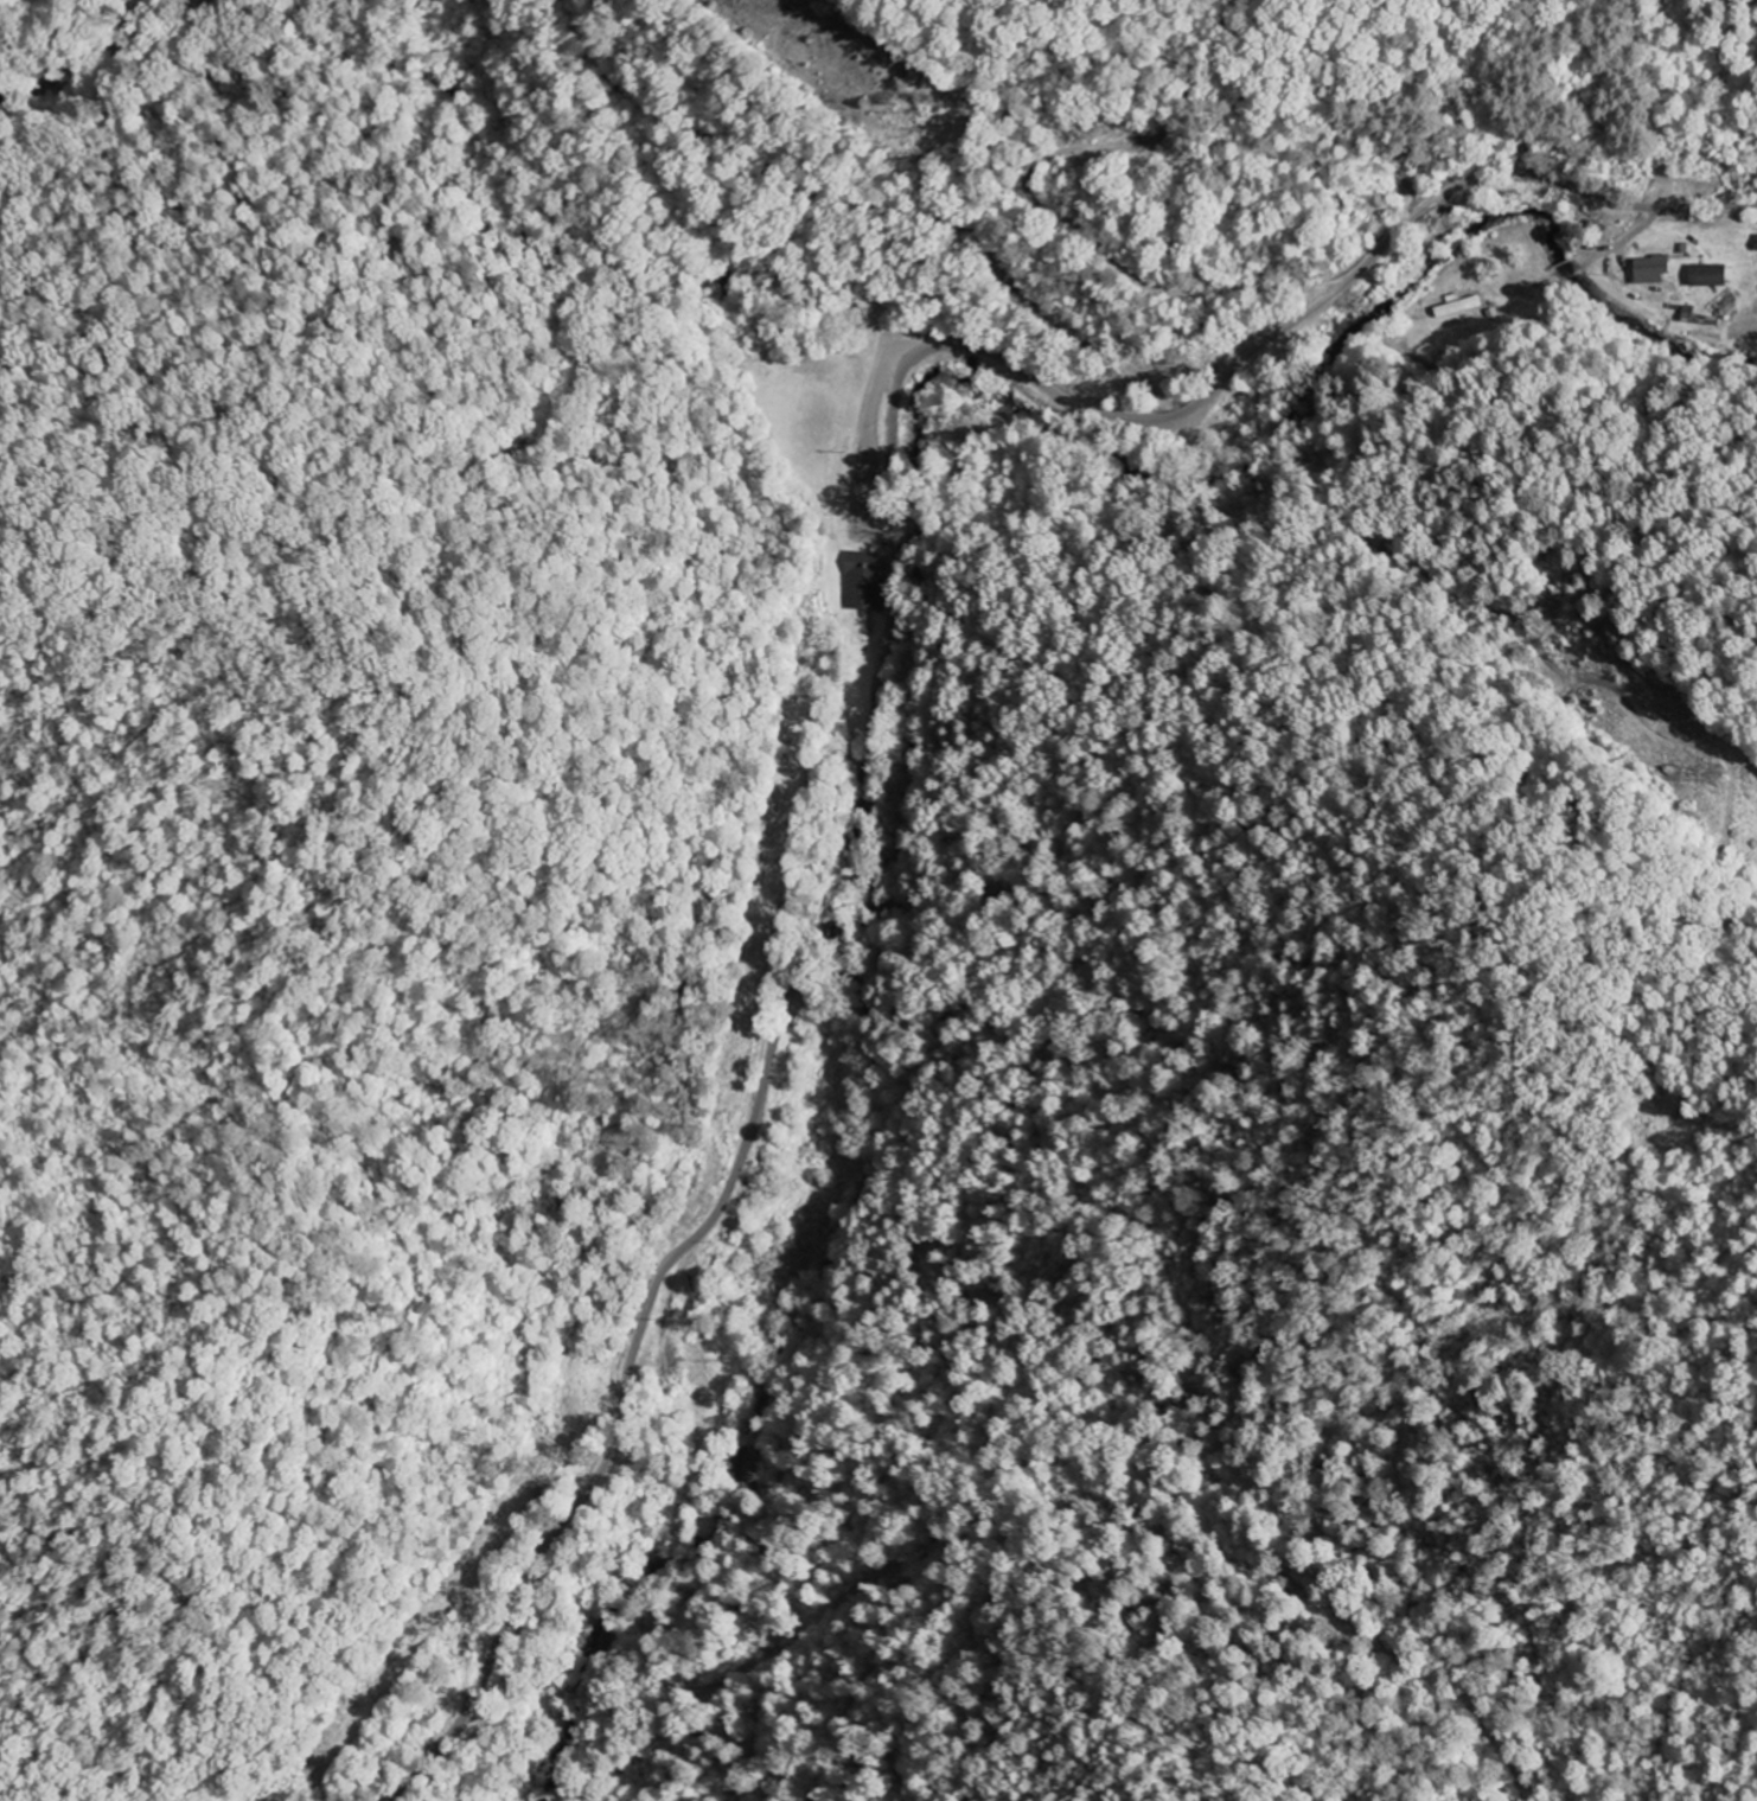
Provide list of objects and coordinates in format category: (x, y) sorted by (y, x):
building: (1653, 269)
building: (1708, 275)
building: (864, 581)
road: (888, 660)
power tower: (1713, 780)

